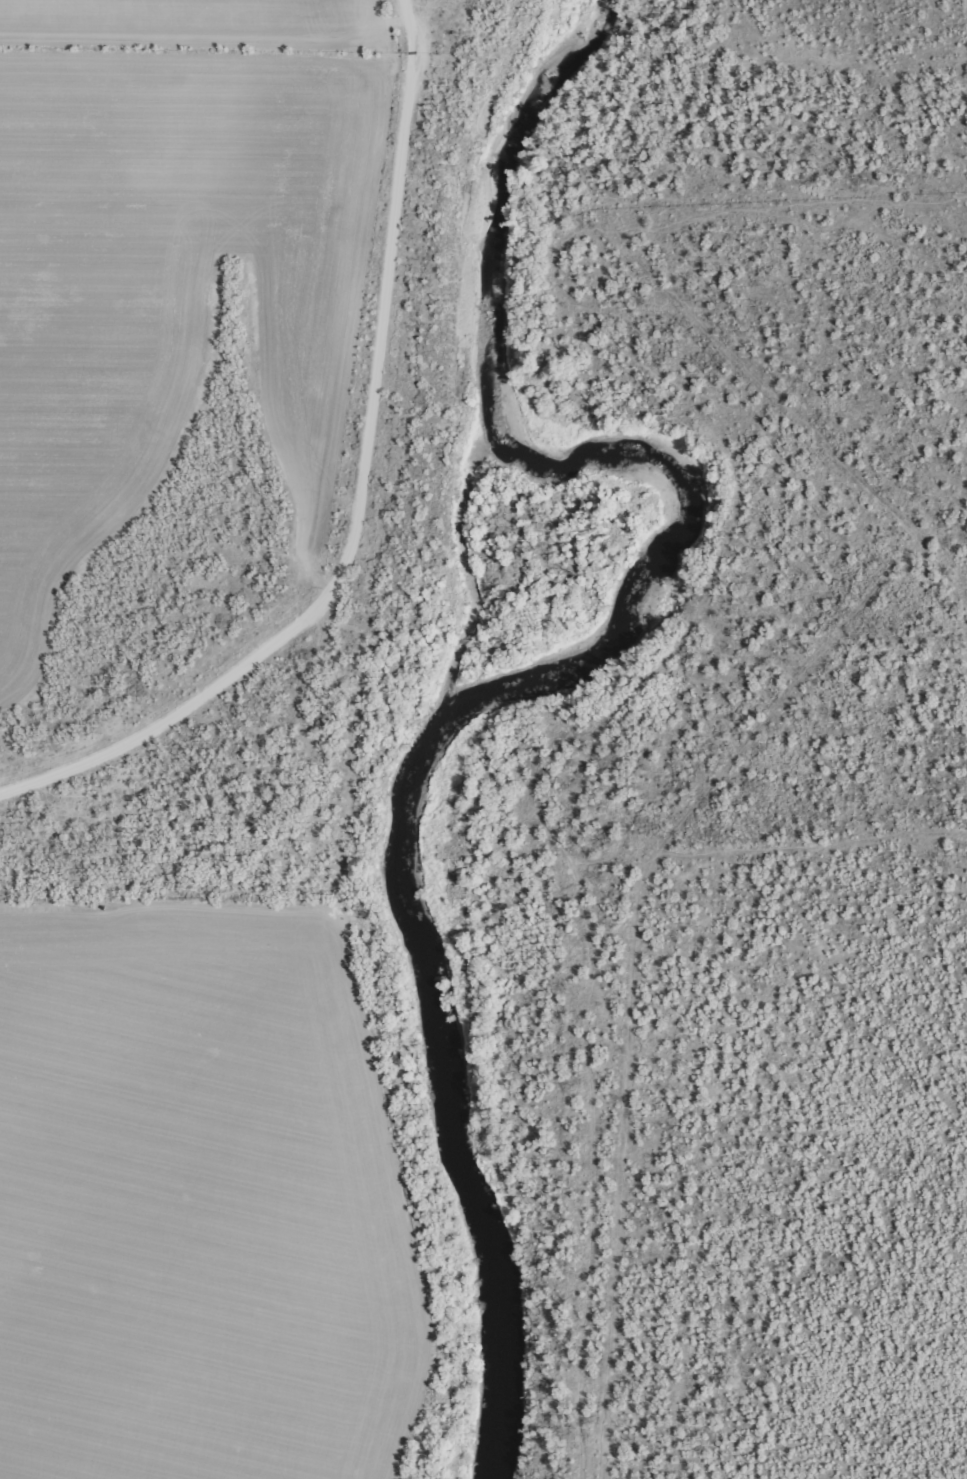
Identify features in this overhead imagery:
road: (342, 589)
river: (448, 732)

